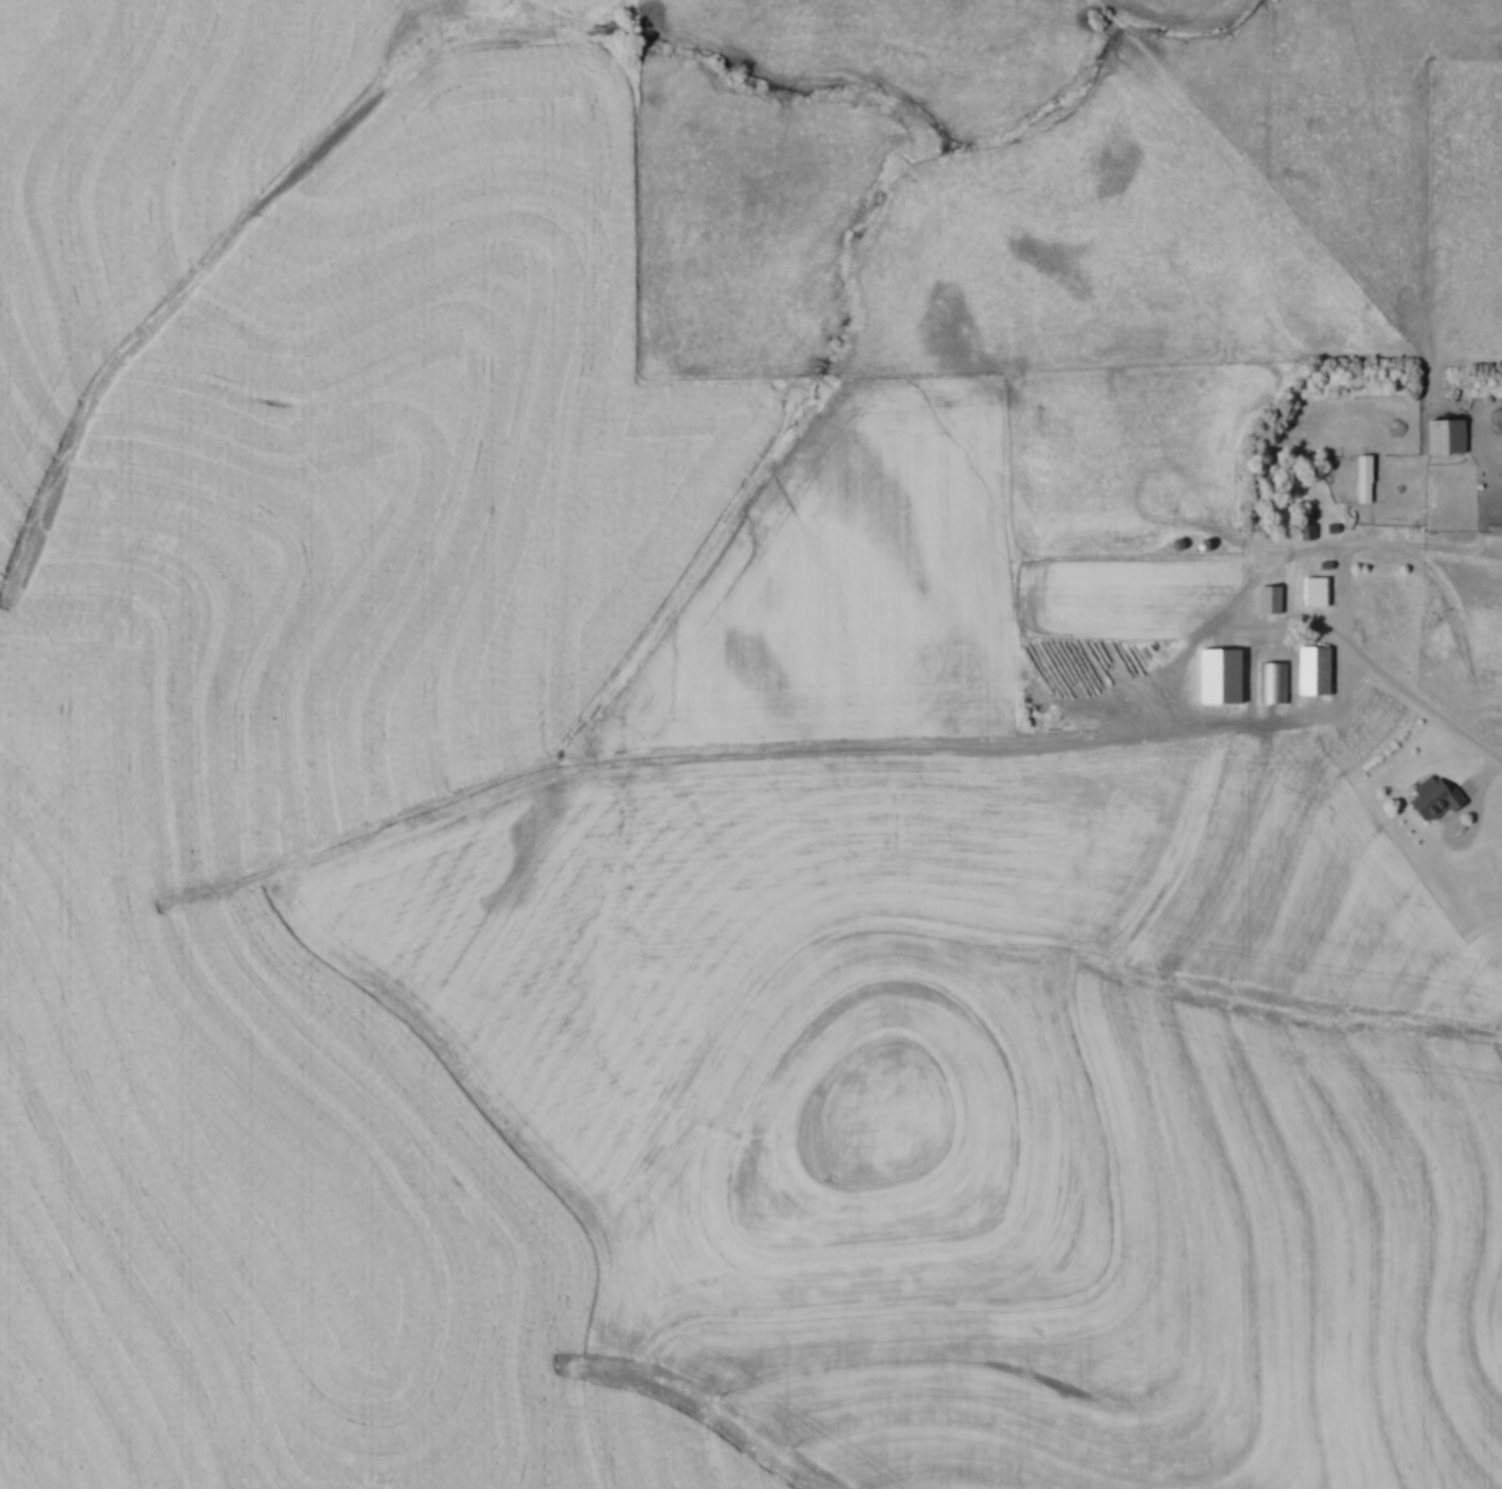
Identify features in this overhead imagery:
building: (1450, 437)
building: (1368, 478)
building: (1317, 592)
building: (1273, 600)
building: (1319, 671)
building: (1274, 683)
road: (1410, 696)
building: (1439, 797)

